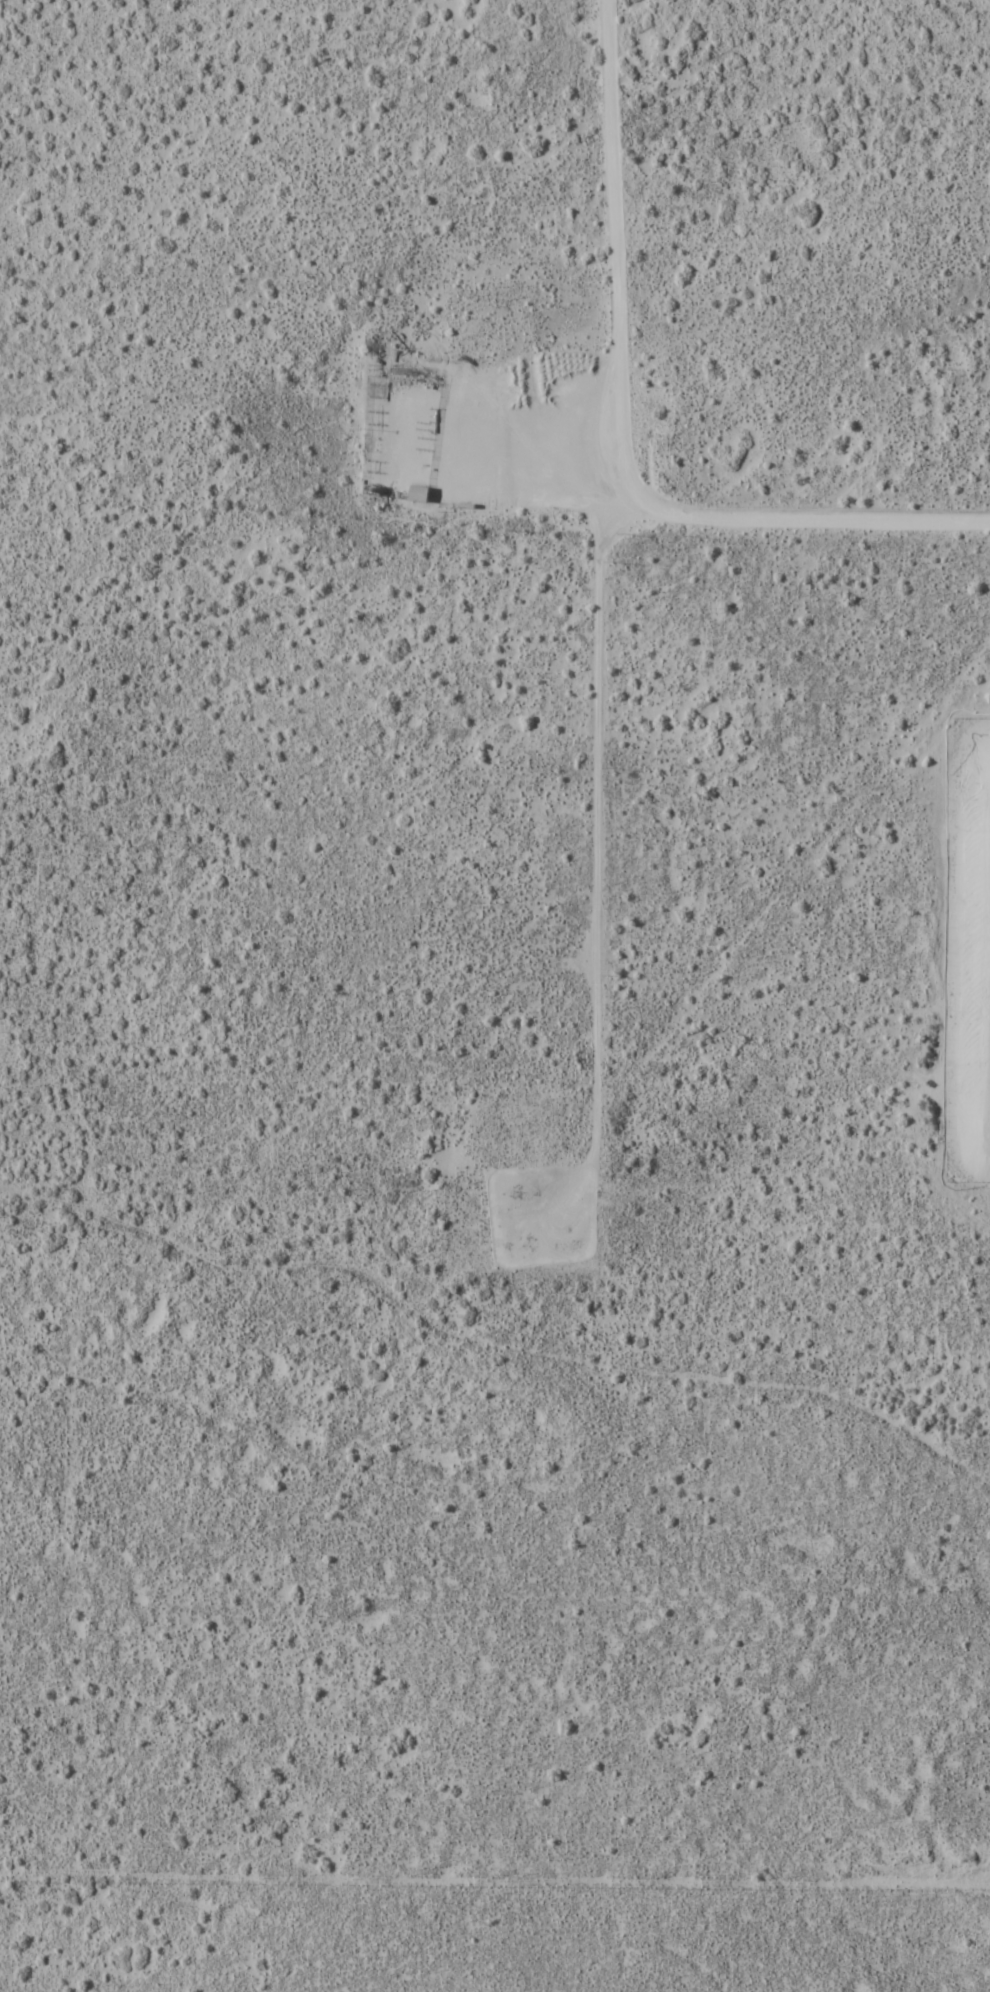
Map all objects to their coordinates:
road: (627, 256)
road: (795, 517)

